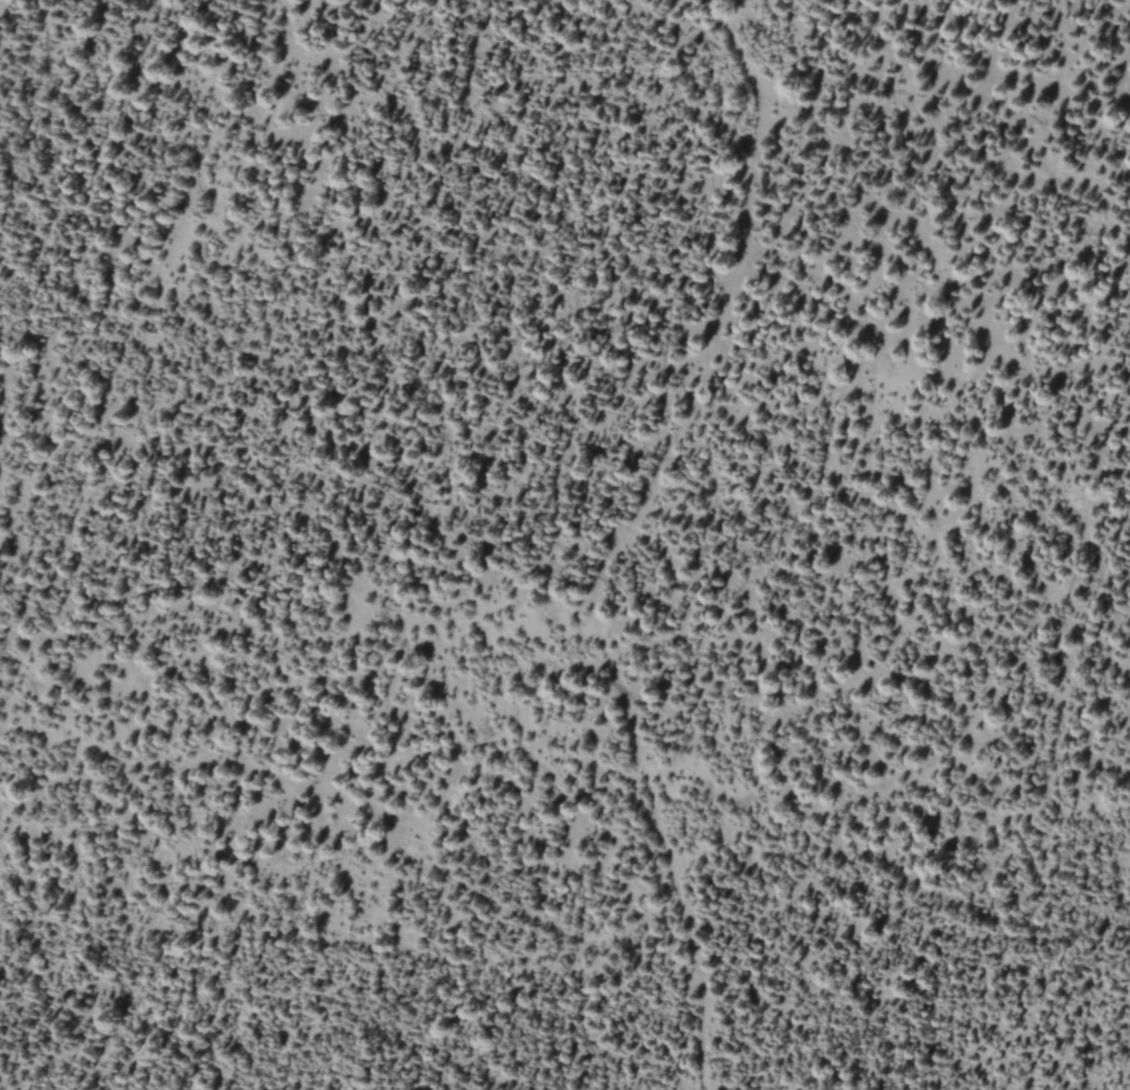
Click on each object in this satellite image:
road: (785, 543)

